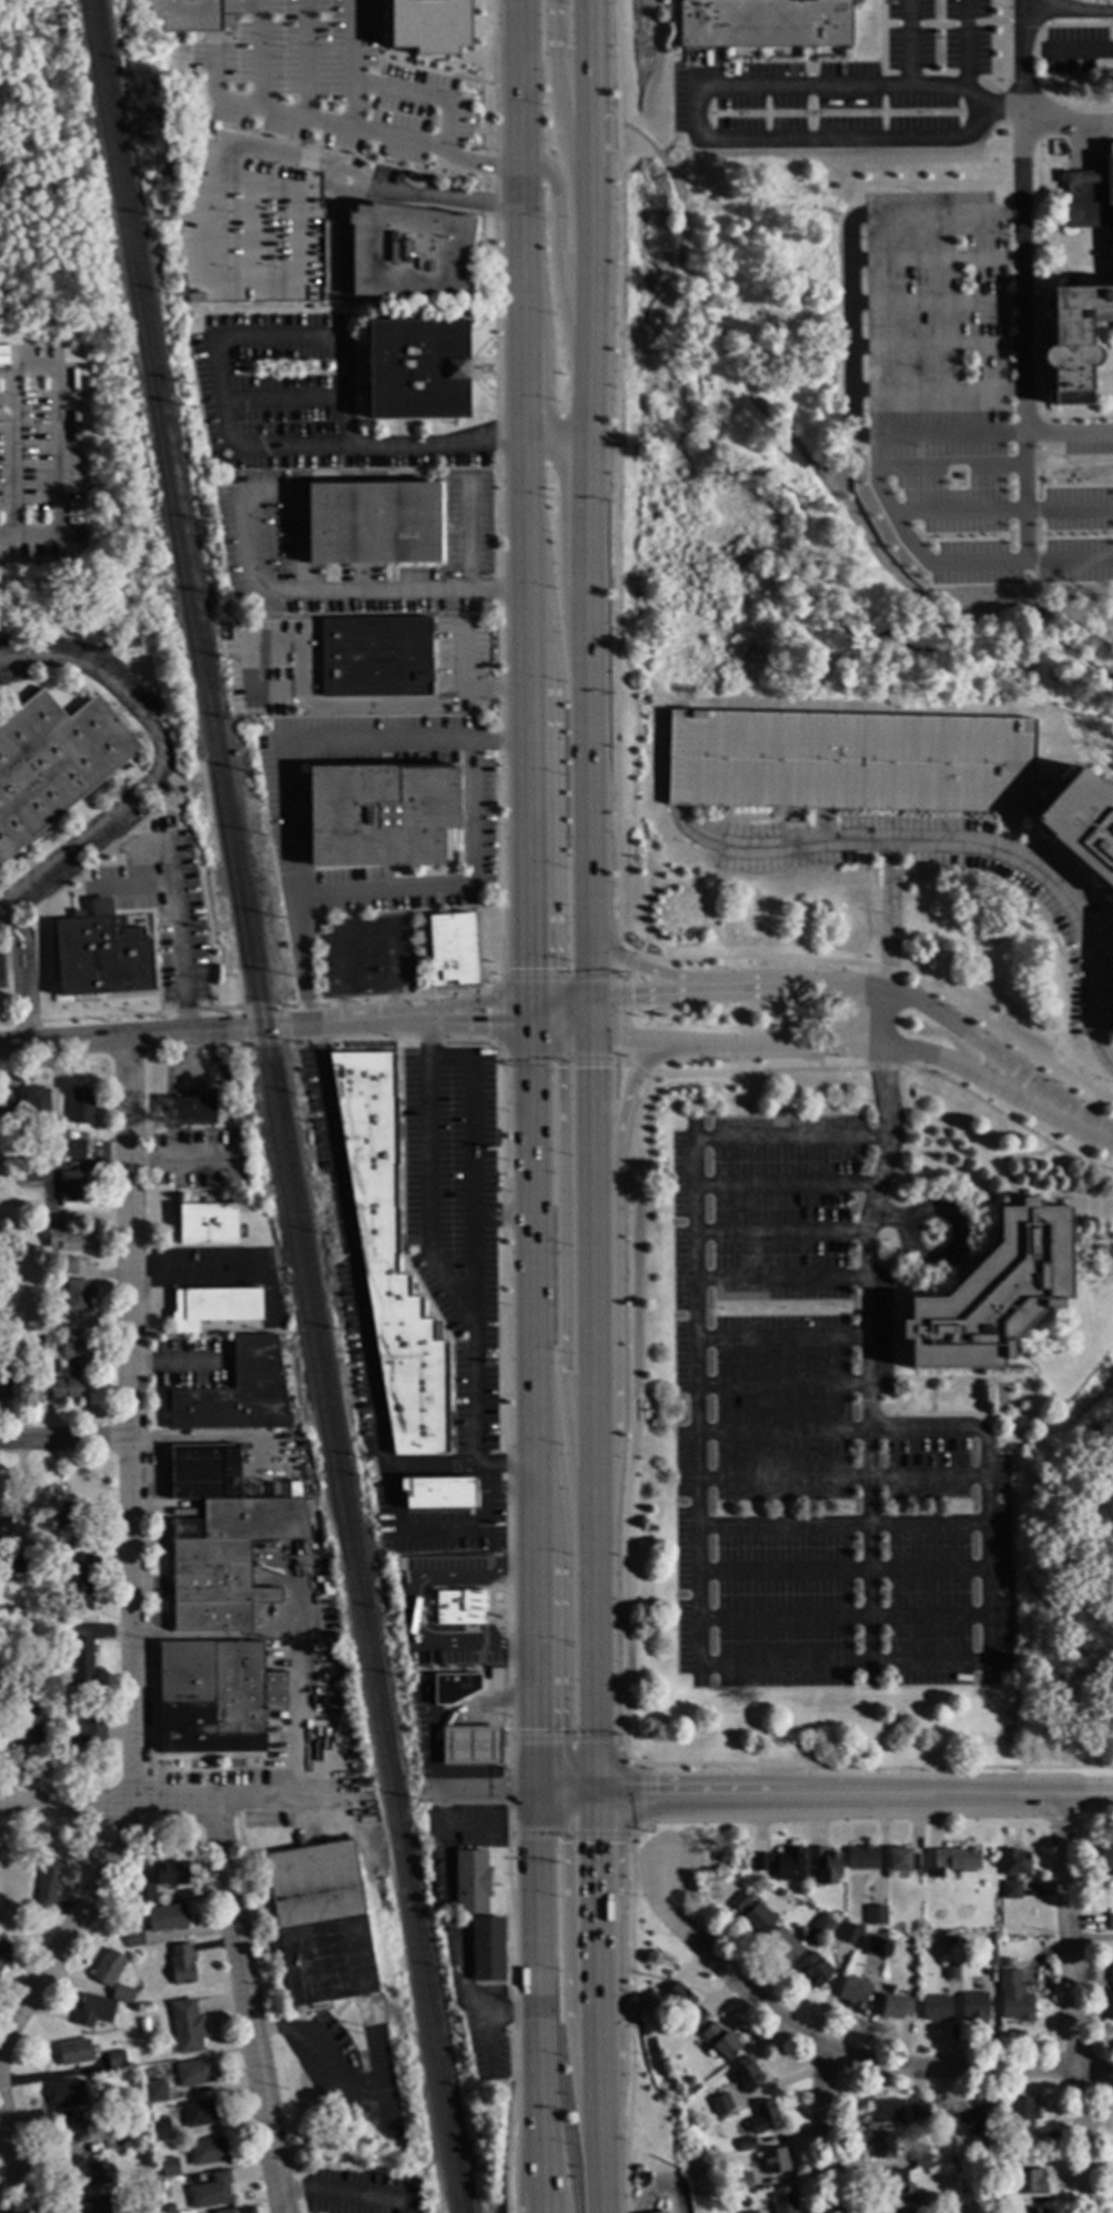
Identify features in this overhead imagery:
road: (231, 7)
road: (249, 7)
road: (882, 11)
road: (1072, 11)
building: (186, 16)
parking lot: (186, 16)
building: (763, 22)
road: (991, 22)
road: (1025, 22)
road: (908, 23)
road: (937, 24)
road: (964, 24)
road: (1077, 24)
building: (429, 27)
road: (909, 43)
road: (965, 44)
road: (881, 48)
road: (1085, 51)
road: (304, 59)
road: (810, 62)
road: (351, 64)
road: (518, 83)
parking lot: (326, 84)
road: (810, 87)
road: (212, 94)
road: (423, 97)
road: (1020, 102)
road: (588, 105)
road: (600, 105)
road: (563, 107)
road: (1000, 110)
road: (810, 114)
road: (335, 125)
road: (674, 137)
road: (757, 140)
road: (1090, 149)
road: (1050, 169)
road: (446, 199)
road: (850, 252)
road: (1048, 252)
building: (407, 253)
road: (520, 254)
road: (590, 257)
road: (934, 259)
road: (556, 267)
road: (1071, 274)
building: (1081, 294)
road: (1039, 303)
road: (934, 304)
road: (1044, 305)
road: (1021, 317)
road: (771, 319)
road: (1044, 335)
road: (588, 346)
road: (934, 347)
road: (768, 354)
road: (1029, 358)
building: (414, 372)
parking lot: (941, 374)
road: (757, 375)
road: (523, 388)
road: (1032, 388)
road: (935, 391)
street lamp: (1010, 413)
road: (586, 414)
road: (555, 437)
road: (380, 444)
parking lot: (1087, 445)
street lamp: (1011, 453)
road: (61, 454)
road: (805, 458)
street lamp: (864, 469)
road: (617, 477)
road: (873, 483)
road: (495, 489)
street lamp: (1036, 496)
road: (1030, 509)
road: (585, 518)
building: (372, 524)
road: (468, 539)
road: (525, 556)
road: (1043, 562)
street lamp: (1024, 577)
road: (340, 597)
building: (129, 646)
building: (375, 659)
road: (464, 659)
road: (385, 708)
road: (587, 761)
road: (158, 762)
road: (284, 762)
building: (850, 762)
parking lot: (850, 762)
road: (1072, 762)
building: (52, 764)
building: (378, 817)
building: (1082, 823)
road: (527, 838)
road: (991, 852)
road: (1077, 873)
road: (454, 888)
road: (1036, 910)
road: (1023, 913)
road: (181, 918)
road: (3, 922)
road: (9, 927)
road: (363, 928)
road: (971, 944)
building: (451, 951)
building: (100, 956)
road: (593, 961)
road: (888, 969)
traffic signals: (529, 970)
road: (644, 972)
road: (560, 978)
road: (498, 982)
road: (838, 989)
road: (752, 990)
road: (654, 994)
traffic signals: (630, 996)
traffic signals: (595, 998)
road: (561, 1000)
traffic signals: (529, 1002)
road: (466, 1004)
road: (545, 1013)
road: (496, 1015)
road: (529, 1015)
road: (595, 1015)
road: (621, 1021)
road: (467, 1024)
traffic signals: (487, 1025)
traffic signals: (529, 1029)
road: (27, 1030)
road: (542, 1030)
traffic signals: (555, 1031)
road: (575, 1032)
road: (202, 1033)
traffic signals: (595, 1034)
road: (973, 1038)
road: (634, 1039)
road: (1110, 1041)
road: (775, 1049)
road: (500, 1052)
road: (559, 1060)
road: (819, 1063)
road: (322, 1065)
road: (880, 1068)
traffic signals: (560, 1069)
traffic signals: (595, 1069)
road: (755, 1071)
road: (965, 1072)
building: (8, 1104)
building: (34, 1105)
building: (79, 1106)
railway: (271, 1106)
railway: (282, 1106)
building: (191, 1112)
road: (1005, 1118)
road: (1080, 1121)
building: (52, 1140)
road: (472, 1149)
building: (74, 1150)
road: (178, 1162)
building: (12, 1166)
building: (29, 1173)
building: (71, 1186)
building: (50, 1217)
building: (205, 1225)
building: (63, 1242)
road: (868, 1252)
building: (387, 1261)
building: (64, 1265)
road: (617, 1271)
road: (443, 1272)
road: (474, 1275)
road: (595, 1275)
road: (355, 1276)
road: (530, 1291)
building: (992, 1295)
building: (77, 1297)
road: (560, 1303)
building: (221, 1304)
building: (47, 1338)
building: (10, 1345)
building: (71, 1352)
building: (4, 1385)
building: (71, 1388)
building: (234, 1394)
road: (691, 1394)
road: (503, 1417)
road: (68, 1446)
road: (427, 1469)
road: (488, 1477)
road: (488, 1491)
building: (437, 1494)
building: (70, 1513)
building: (4, 1530)
road: (423, 1533)
building: (74, 1540)
building: (220, 1540)
road: (595, 1545)
building: (67, 1547)
road: (988, 1552)
road: (135, 1558)
building: (18, 1559)
building: (79, 1584)
road: (422, 1606)
building: (462, 1608)
road: (256, 1638)
road: (621, 1660)
building: (81, 1661)
road: (533, 1674)
road: (596, 1684)
building: (453, 1688)
building: (214, 1698)
building: (22, 1728)
building: (84, 1729)
road: (565, 1738)
building: (469, 1747)
road: (506, 1789)
road: (478, 1792)
traffic signals: (534, 1792)
road: (920, 1792)
road: (1085, 1792)
road: (566, 1793)
road: (689, 1793)
traffic signals: (598, 1795)
road: (646, 1796)
road: (174, 1805)
road: (570, 1835)
building: (862, 1858)
building: (722, 1859)
building: (949, 1860)
building: (900, 1861)
building: (1105, 1861)
building: (779, 1865)
building: (828, 1865)
building: (172, 1872)
building: (1012, 1872)
building: (471, 1883)
building: (47, 1884)
building: (143, 1894)
building: (817, 1896)
building: (752, 1914)
building: (876, 1916)
building: (164, 1919)
building: (1110, 1923)
building: (320, 1924)
building: (821, 1926)
road: (598, 1927)
building: (912, 1932)
building: (849, 1933)
building: (132, 1939)
building: (952, 1940)
road: (537, 1944)
building: (782, 1946)
building: (874, 1946)
building: (486, 1951)
building: (6, 1953)
building: (985, 1954)
building: (1006, 1962)
building: (180, 1967)
building: (107, 1969)
building: (813, 1971)
building: (950, 1971)
road: (566, 1972)
building: (853, 1992)
building: (1109, 1993)
building: (120, 1995)
building: (1013, 1998)
road: (1074, 2002)
building: (684, 2003)
building: (973, 2007)
building: (896, 2008)
road: (247, 2009)
road: (513, 2009)
building: (935, 2009)
building: (92, 2012)
road: (630, 2015)
building: (185, 2028)
building: (719, 2042)
building: (73, 2053)
road: (840, 2055)
building: (114, 2061)
building: (192, 2073)
building: (746, 2075)
building: (689, 2081)
building: (153, 2093)
building: (67, 2095)
building: (115, 2100)
building: (720, 2104)
building: (918, 2110)
building: (886, 2111)
building: (200, 2114)
building: (763, 2116)
building: (1023, 2120)
building: (972, 2121)
building: (159, 2131)
road: (827, 2132)
building: (68, 2134)
road: (598, 2136)
building: (110, 2141)
building: (125, 2143)
building: (746, 2144)
building: (882, 2145)
road: (543, 2146)
building: (205, 2152)
road: (527, 2155)
building: (951, 2159)
building: (775, 2161)
building: (921, 2161)
road: (11, 2169)
building: (168, 2169)
building: (81, 2174)
building: (151, 2175)
building: (204, 2179)
building: (1028, 2181)
building: (741, 2182)
building: (891, 2182)
road: (662, 2187)
building: (210, 2193)
building: (981, 2194)
road: (342, 2196)
building: (782, 2200)
building: (925, 2200)
road: (545, 2203)
road: (547, 2203)
building: (92, 2205)
building: (168, 2209)
building: (150, 2210)
building: (900, 2211)
building: (1033, 2211)
building: (229, 2212)
building: (751, 2212)

